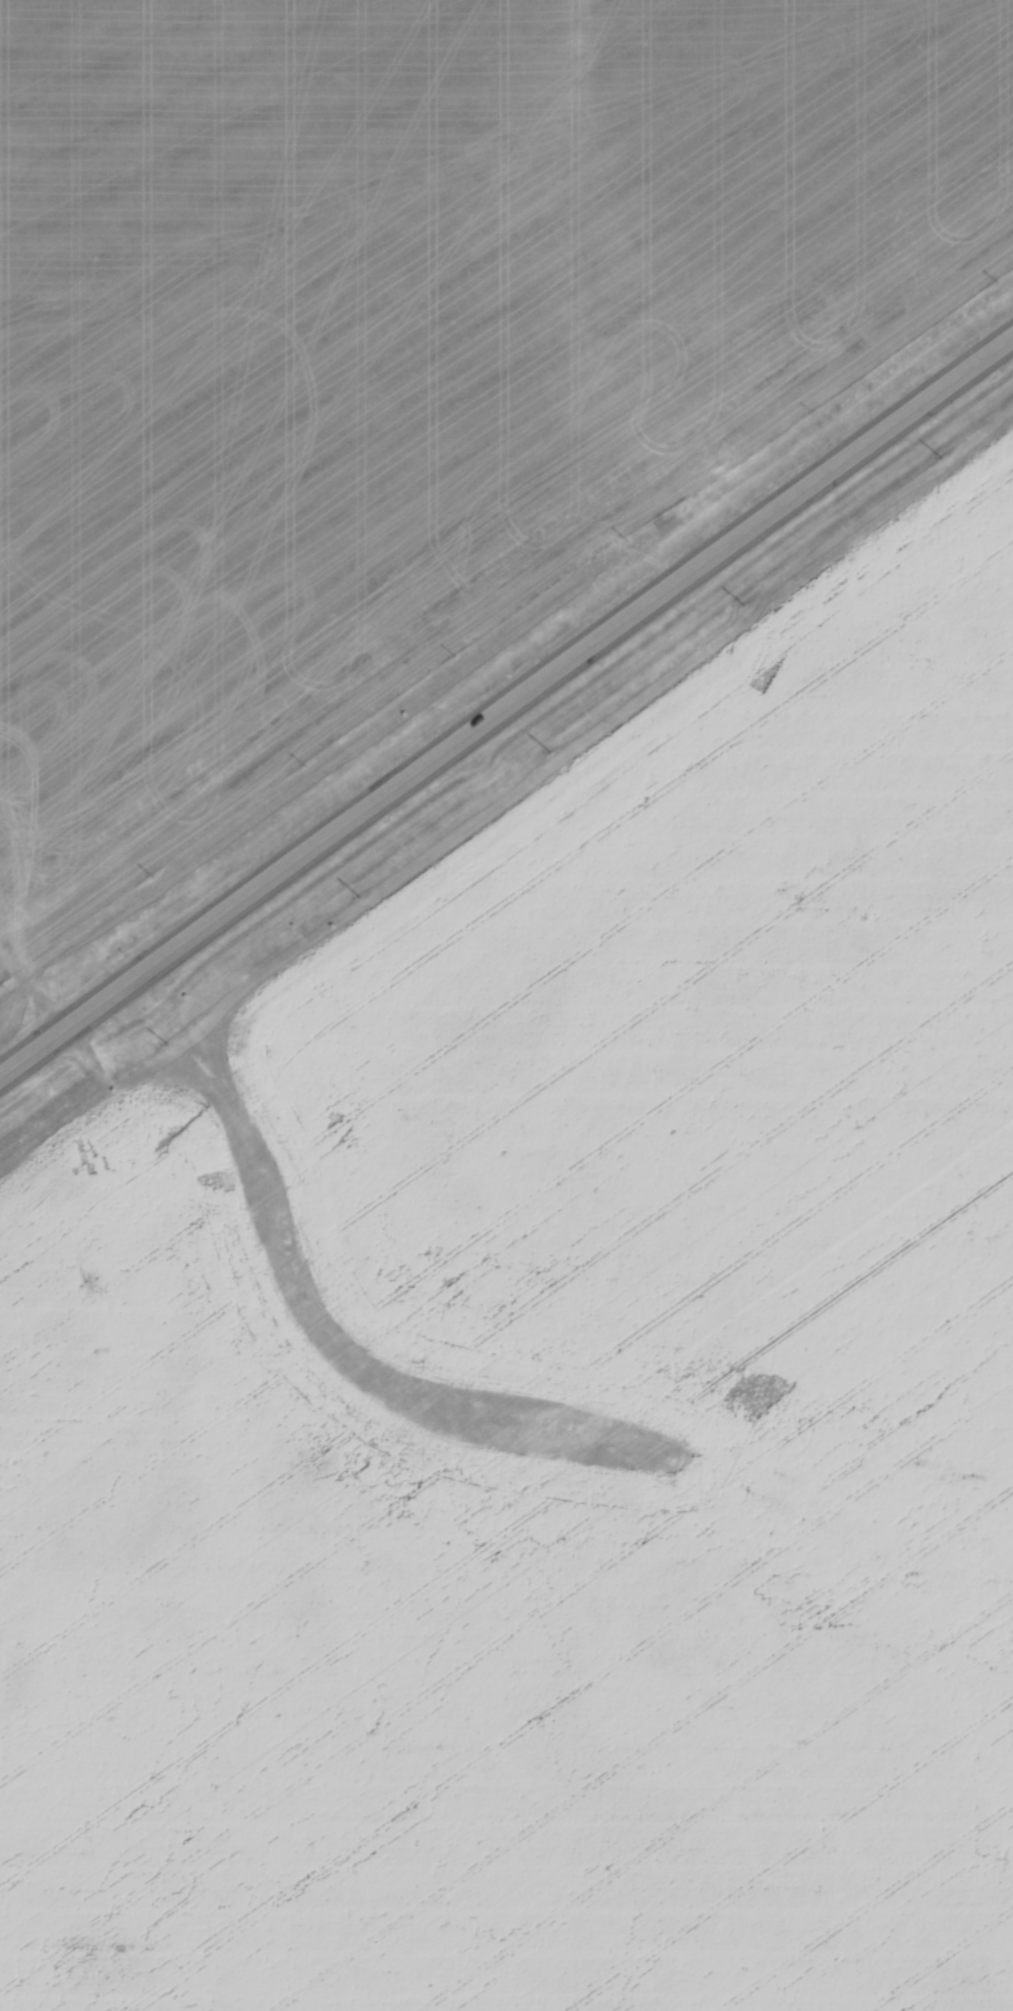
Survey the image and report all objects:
road: (506, 710)

